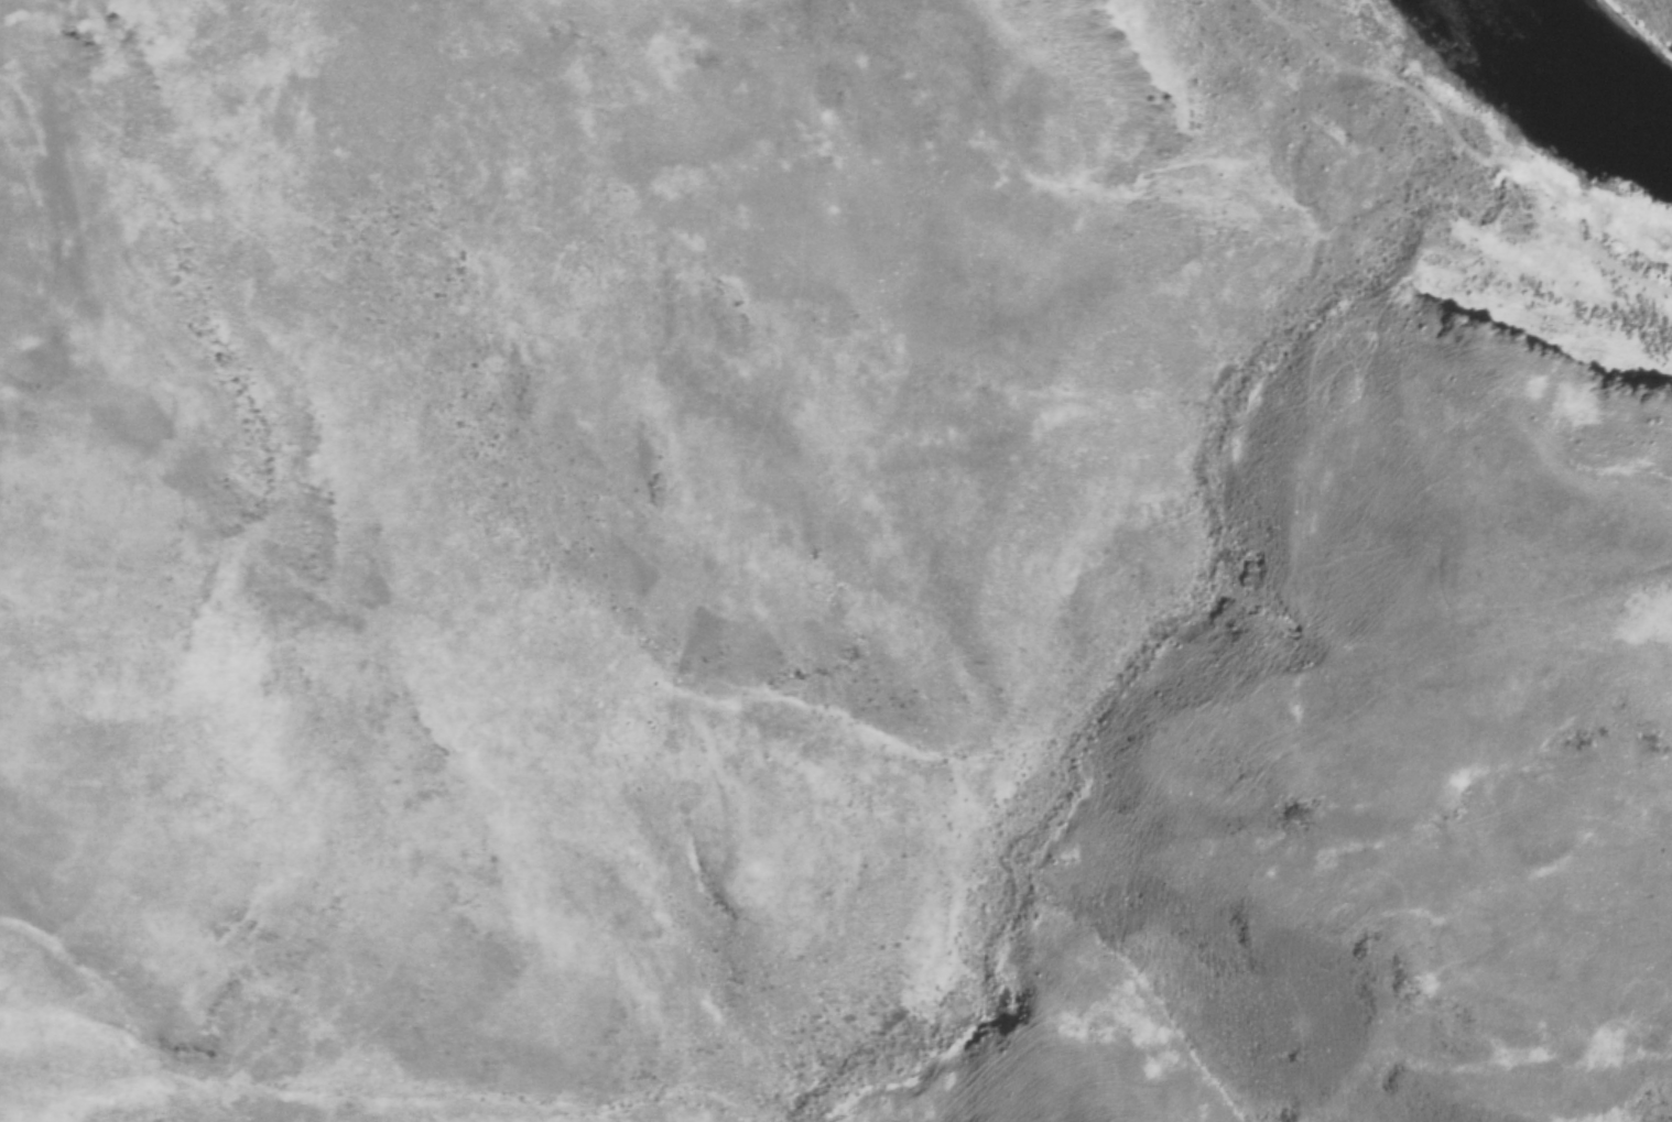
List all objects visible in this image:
river: (1587, 77)
road: (1615, 262)

